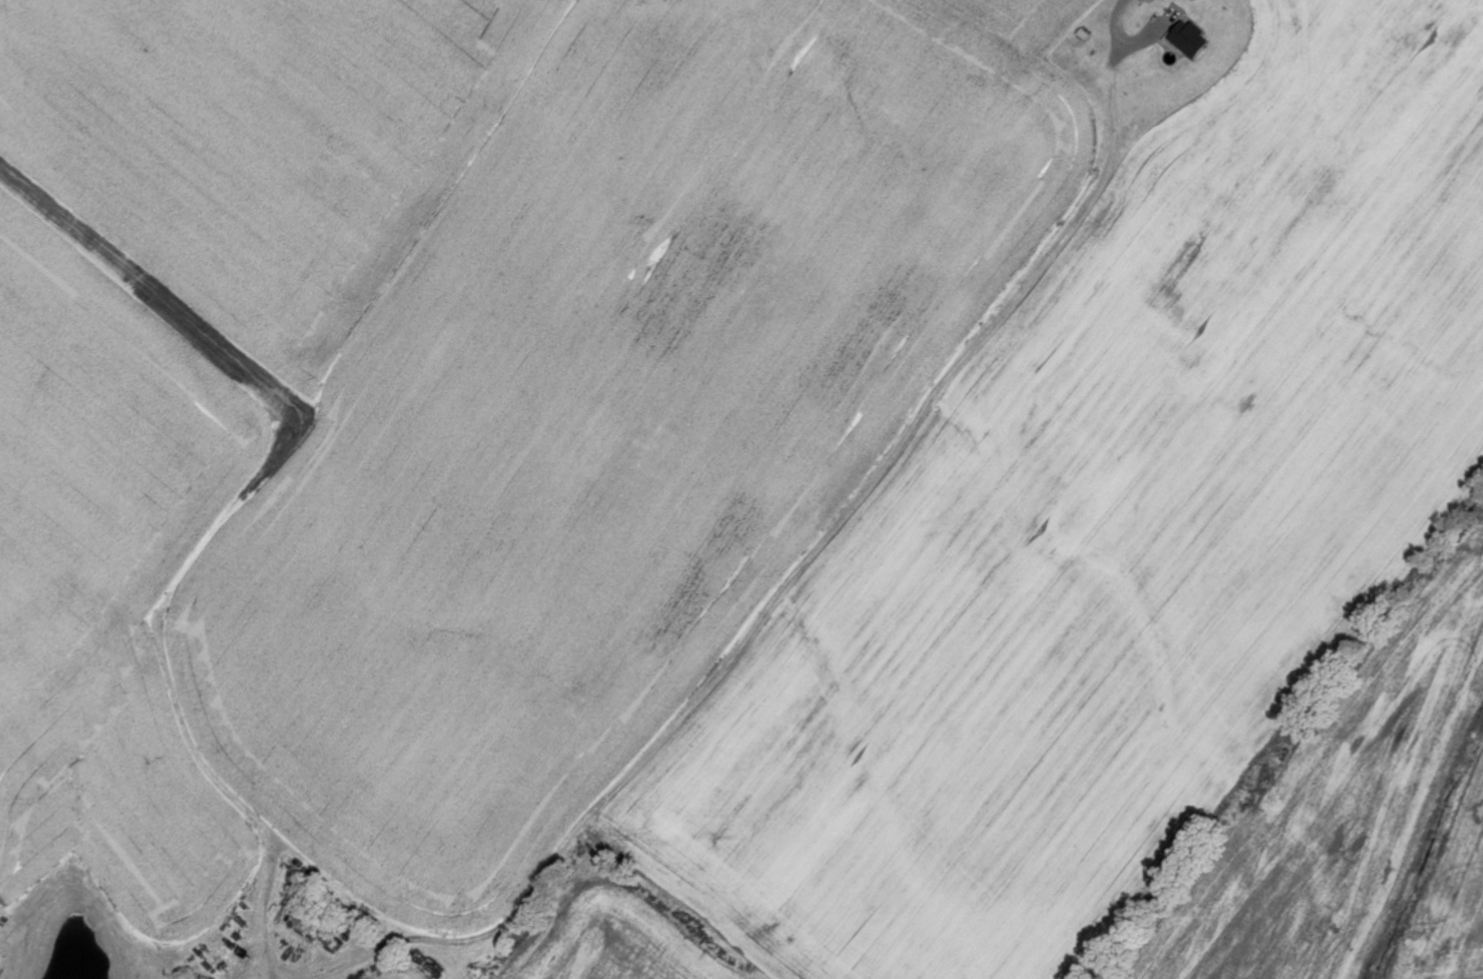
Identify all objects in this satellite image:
building: (1190, 40)

